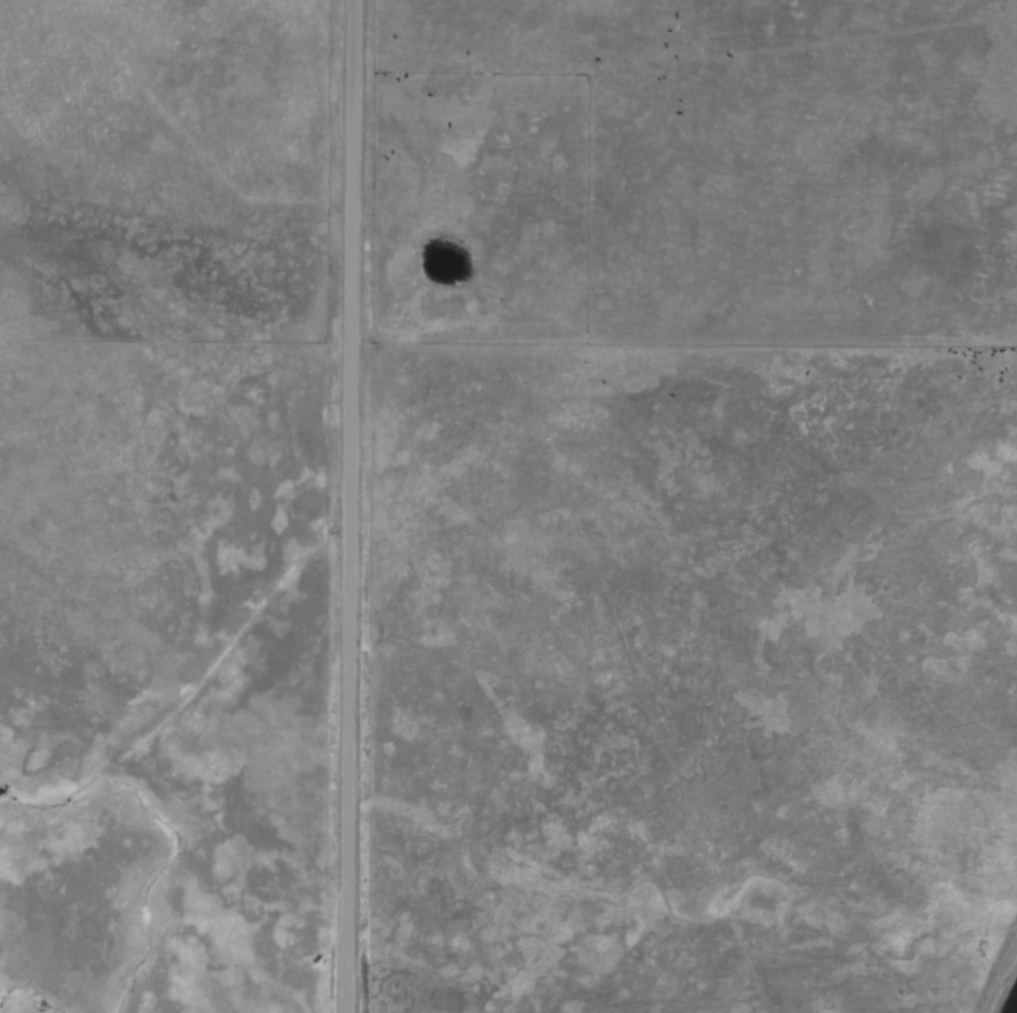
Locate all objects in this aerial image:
road: (349, 506)

